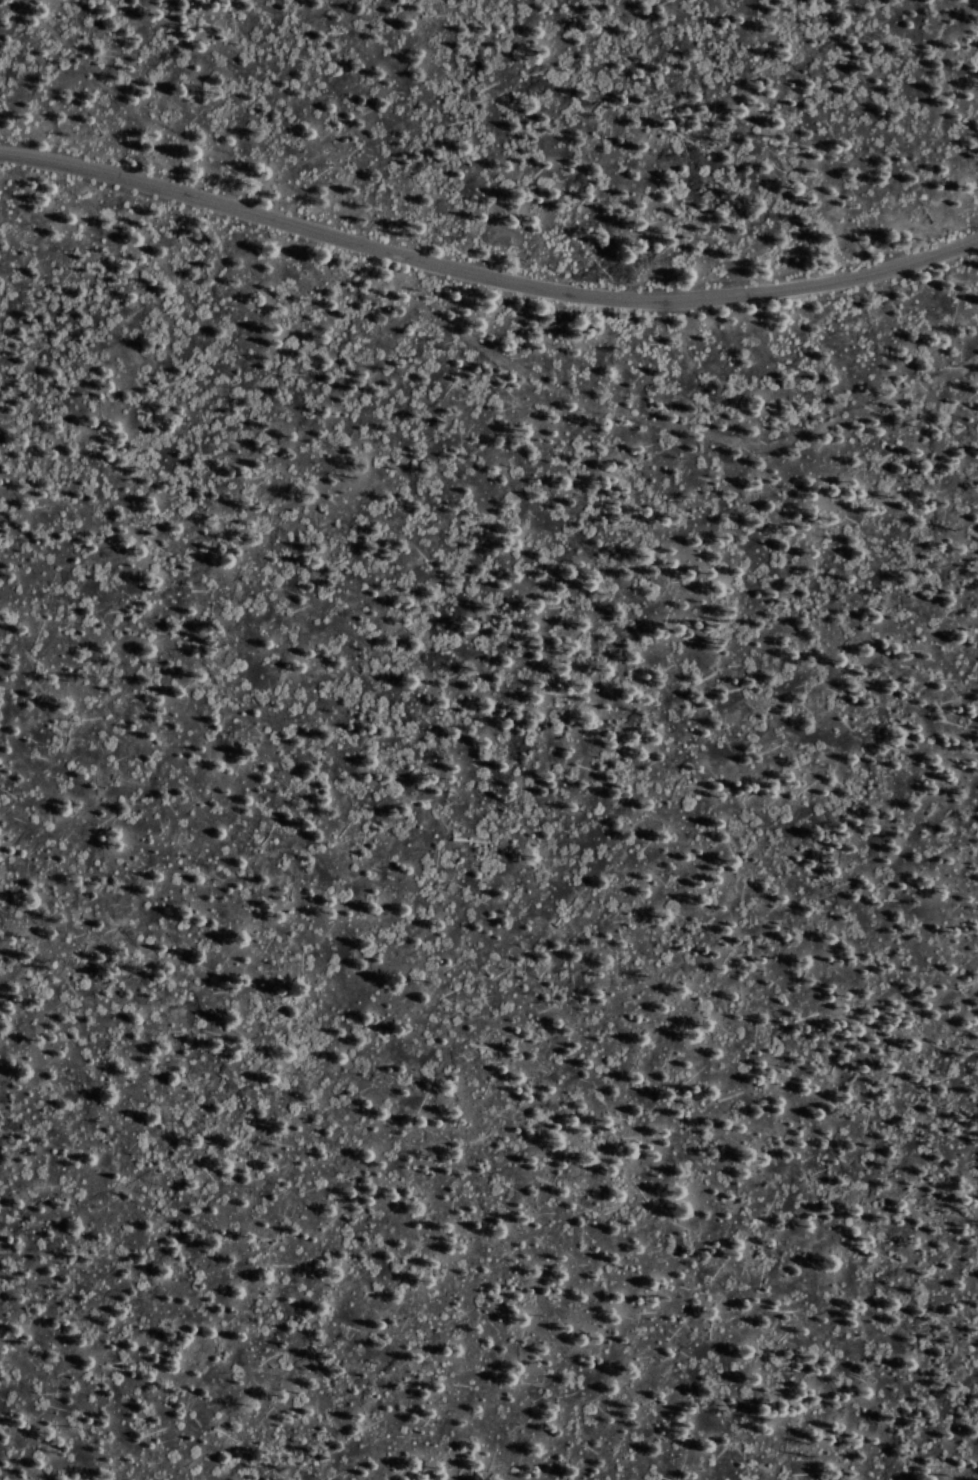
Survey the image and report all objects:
road: (485, 281)

